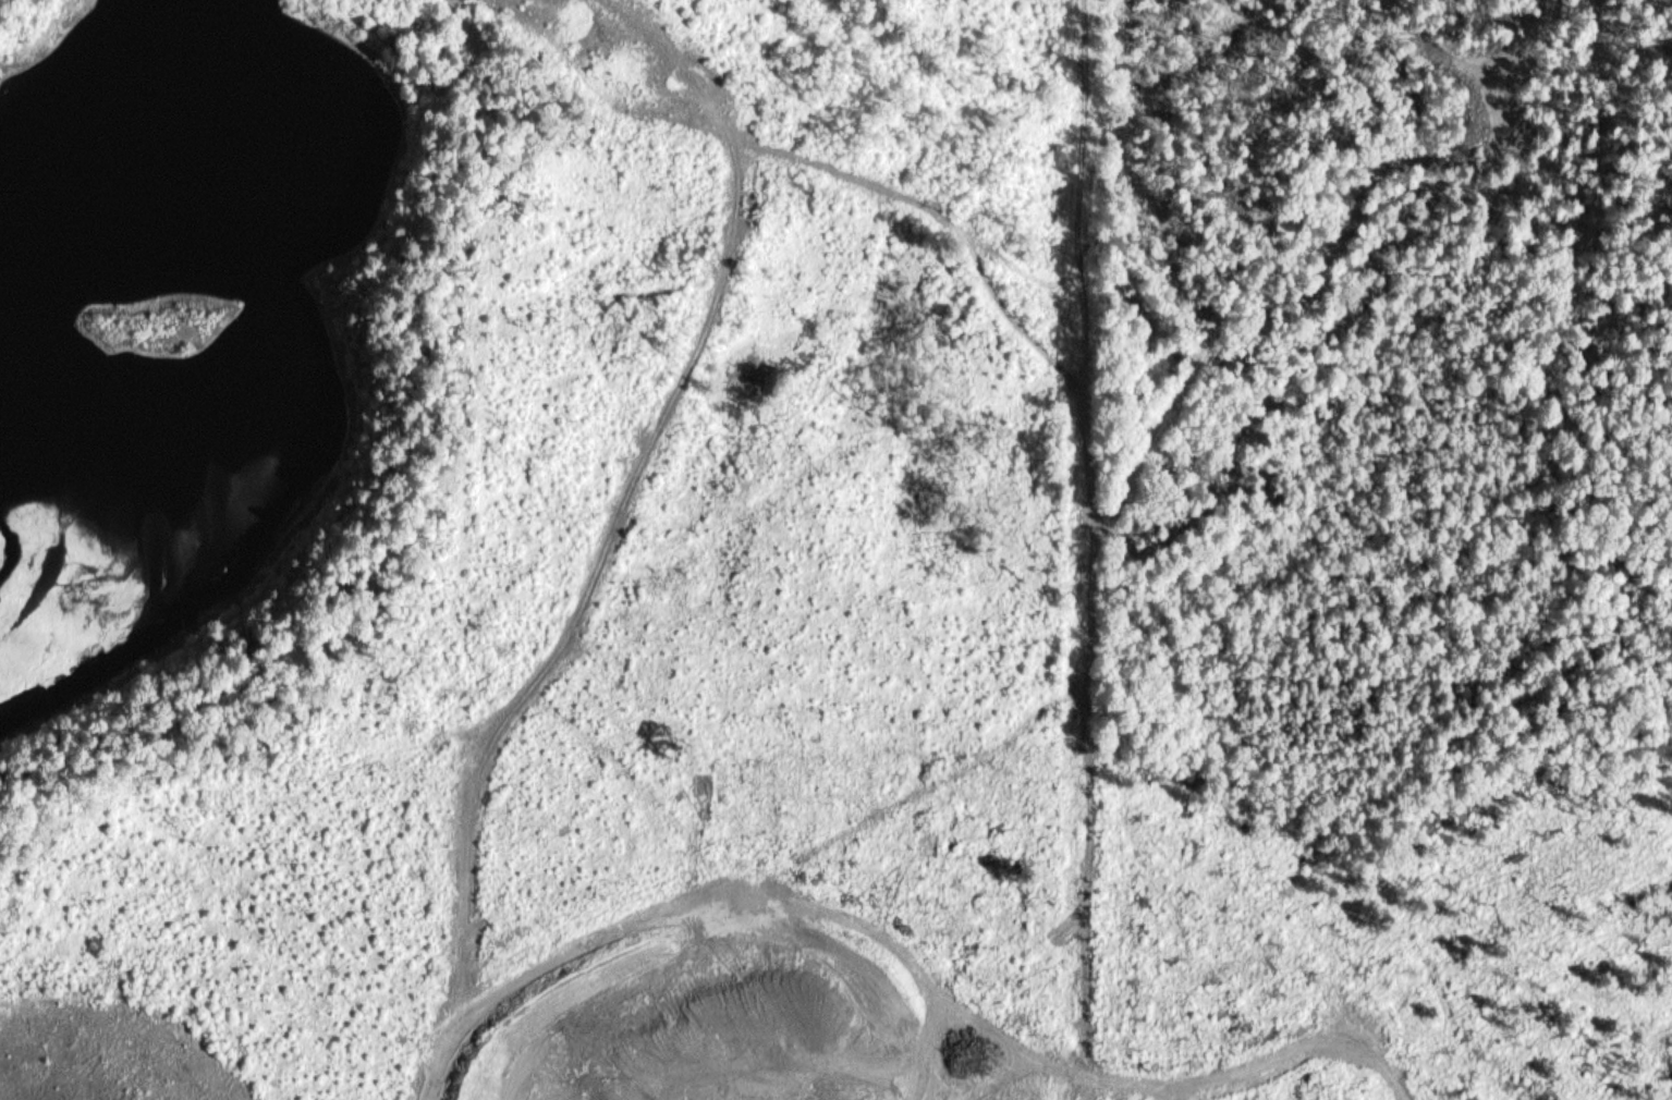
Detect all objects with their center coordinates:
road: (608, 524)

